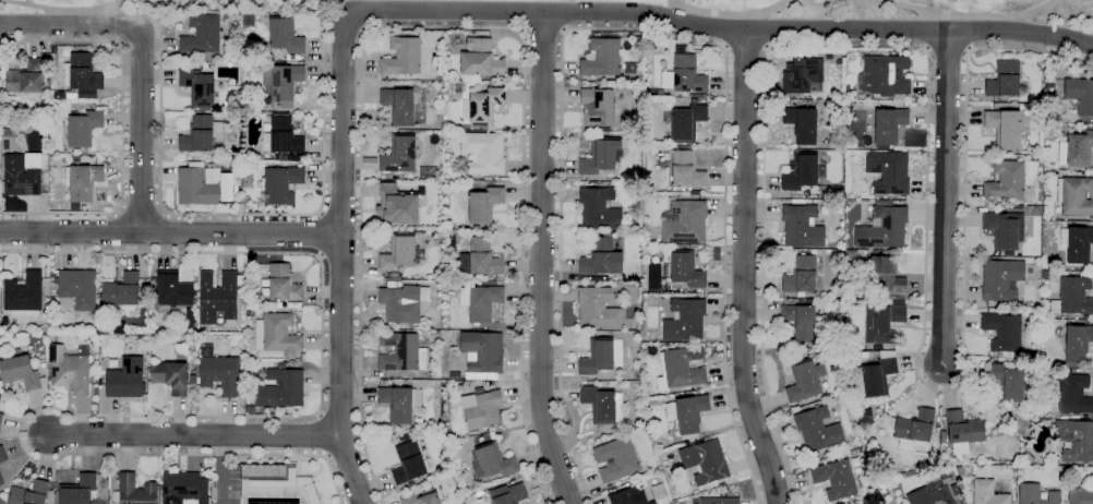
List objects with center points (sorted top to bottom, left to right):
road: (27, 3)
park: (176, 5)
road: (64, 10)
park: (873, 10)
road: (728, 13)
road: (968, 14)
road: (443, 27)
road: (636, 28)
road: (731, 28)
road: (543, 31)
building: (202, 35)
building: (284, 35)
building: (446, 36)
road: (745, 49)
building: (51, 50)
building: (652, 50)
building: (226, 57)
building: (401, 57)
building: (604, 57)
building: (828, 57)
building: (482, 58)
road: (144, 60)
building: (838, 61)
building: (192, 64)
building: (684, 72)
building: (634, 75)
building: (801, 75)
building: (82, 76)
building: (439, 76)
building: (884, 76)
building: (25, 80)
building: (1004, 80)
building: (281, 82)
building: (589, 84)
building: (46, 85)
building: (197, 88)
building: (1058, 94)
building: (58, 95)
building: (70, 96)
building: (1079, 96)
building: (267, 98)
building: (400, 105)
building: (600, 105)
building: (481, 106)
building: (849, 106)
building: (1012, 106)
building: (267, 119)
building: (5, 120)
building: (683, 122)
building: (803, 122)
building: (884, 124)
road: (121, 128)
building: (82, 129)
building: (1005, 129)
building: (7, 132)
building: (199, 134)
building: (281, 135)
building: (1076, 151)
building: (397, 153)
building: (483, 153)
building: (244, 156)
building: (600, 156)
building: (236, 157)
building: (84, 158)
building: (288, 158)
building: (451, 158)
road: (926, 159)
building: (28, 160)
building: (403, 170)
building: (683, 171)
building: (800, 171)
building: (428, 172)
building: (887, 172)
building: (20, 177)
building: (80, 180)
building: (1005, 181)
building: (393, 182)
building: (280, 184)
building: (196, 185)
building: (670, 197)
building: (1072, 197)
road: (946, 199)
building: (245, 200)
building: (797, 202)
building: (398, 205)
building: (480, 205)
building: (598, 208)
building: (824, 211)
road: (140, 212)
road: (249, 214)
building: (683, 221)
building: (801, 227)
building: (881, 227)
building: (1000, 230)
road: (170, 233)
road: (319, 235)
building: (434, 236)
building: (1078, 244)
road: (340, 250)
building: (400, 253)
building: (849, 254)
building: (478, 257)
building: (600, 257)
road: (540, 261)
building: (681, 268)
road: (741, 271)
building: (1044, 274)
building: (800, 275)
building: (885, 277)
building: (430, 279)
building: (1000, 279)
building: (281, 284)
building: (47, 286)
building: (75, 290)
building: (120, 290)
building: (170, 291)
building: (23, 296)
building: (700, 296)
building: (1072, 297)
building: (52, 298)
building: (218, 298)
building: (480, 300)
building: (800, 301)
building: (403, 302)
building: (807, 302)
building: (597, 310)
building: (668, 315)
building: (683, 320)
building: (800, 322)
building: (882, 322)
building: (94, 328)
building: (1001, 332)
building: (276, 334)
building: (434, 335)
building: (51, 338)
building: (1077, 341)
building: (854, 346)
building: (179, 348)
building: (400, 352)
building: (481, 353)
building: (863, 355)
building: (597, 357)
building: (280, 365)
building: (677, 369)
building: (19, 370)
building: (68, 370)
building: (218, 372)
building: (453, 375)
building: (874, 375)
building: (169, 376)
building: (124, 379)
building: (192, 380)
building: (804, 381)
building: (1007, 382)
building: (280, 388)
building: (686, 389)
building: (1072, 394)
building: (602, 405)
building: (398, 406)
building: (482, 410)
building: (686, 412)
road: (213, 416)
building: (864, 417)
building: (0, 418)
building: (817, 430)
building: (914, 430)
building: (962, 432)
road: (191, 436)
building: (403, 436)
building: (1074, 440)
building: (2, 455)
building: (816, 455)
building: (615, 460)
building: (853, 460)
building: (491, 461)
building: (704, 461)
building: (825, 461)
building: (407, 463)
road: (223, 470)
building: (277, 477)
building: (834, 479)
building: (0, 482)
building: (410, 485)
building: (953, 488)
building: (183, 489)
building: (725, 489)
building: (77, 490)
building: (134, 490)
building: (695, 492)
building: (29, 493)
building: (987, 493)
building: (507, 494)
building: (1036, 494)
building: (1080, 495)
building: (628, 496)
building: (930, 496)
building: (421, 497)
building: (1, 501)
building: (716, 501)

